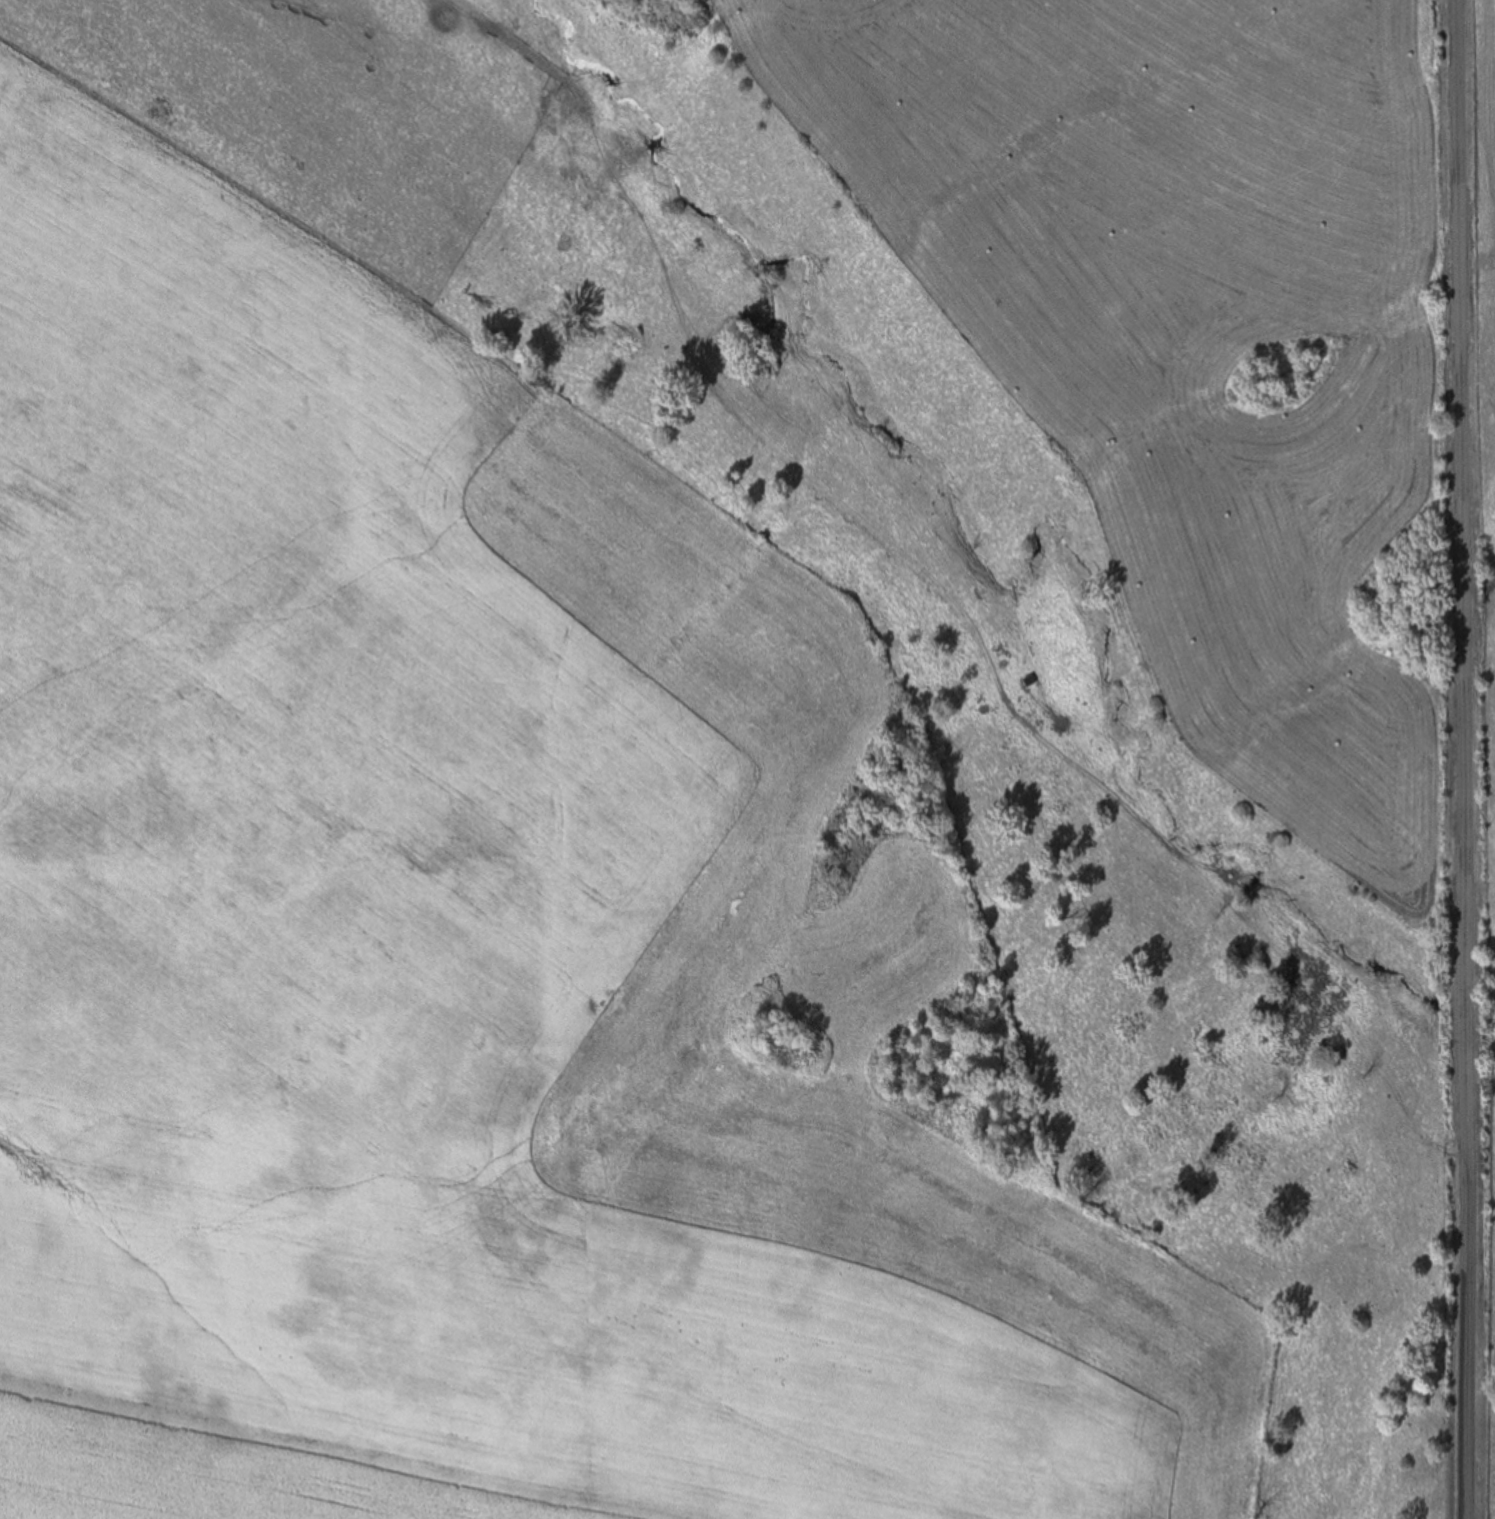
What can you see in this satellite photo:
road: (1462, 759)

